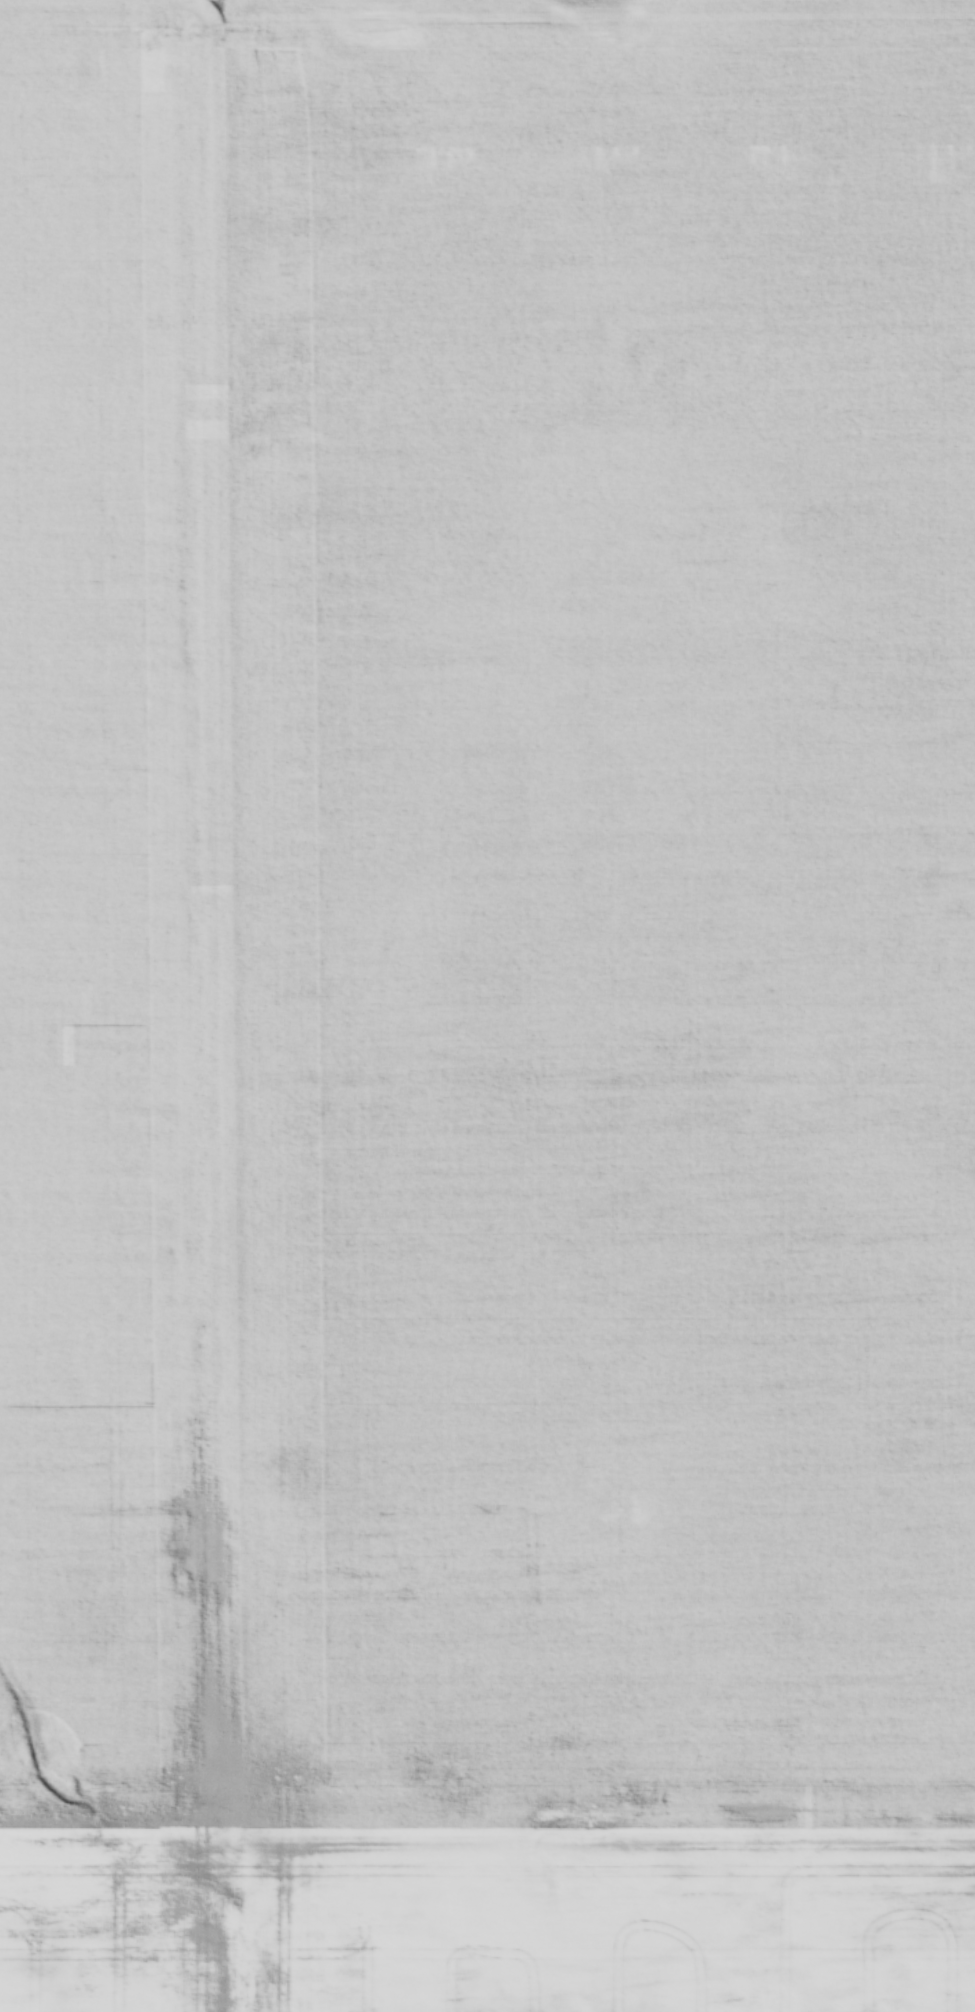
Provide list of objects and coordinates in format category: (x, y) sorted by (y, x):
road: (487, 1823)

